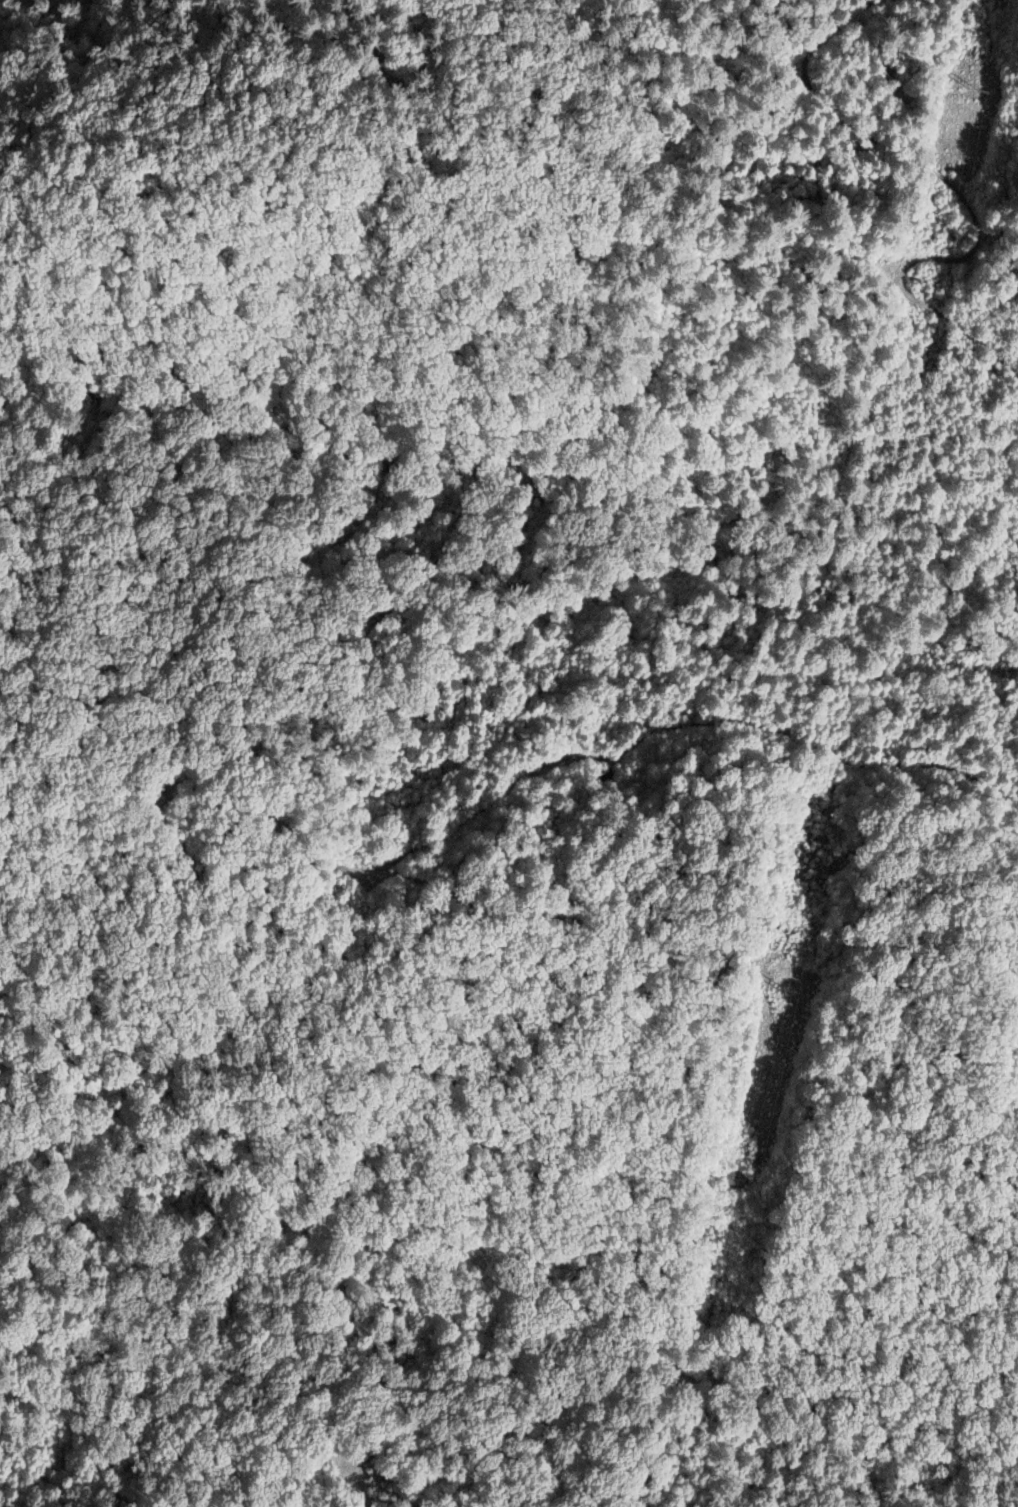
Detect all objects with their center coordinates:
power tower: (971, 87)
power tower: (922, 320)
power tower: (780, 988)

